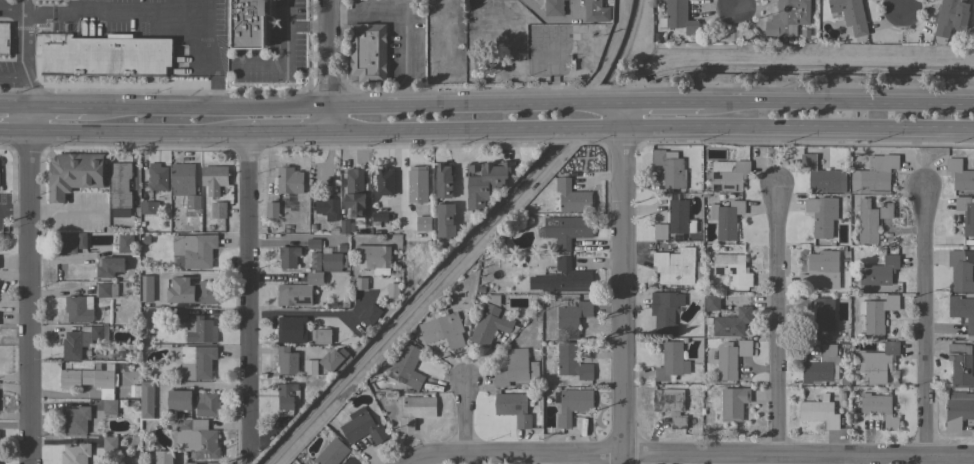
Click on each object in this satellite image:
road: (740, 1)
building: (554, 7)
road: (902, 9)
building: (593, 10)
road: (18, 11)
road: (121, 12)
building: (849, 15)
building: (951, 16)
building: (679, 17)
road: (543, 18)
building: (788, 18)
building: (249, 24)
road: (405, 24)
road: (305, 26)
building: (4, 38)
road: (25, 44)
building: (368, 52)
building: (103, 55)
road: (286, 55)
road: (324, 55)
road: (213, 61)
road: (12, 76)
road: (26, 92)
road: (797, 107)
road: (14, 108)
road: (56, 108)
road: (202, 110)
road: (472, 110)
road: (621, 120)
road: (323, 127)
road: (798, 134)
road: (472, 137)
road: (15, 138)
road: (137, 139)
road: (283, 141)
building: (670, 168)
building: (74, 174)
road: (457, 174)
building: (878, 174)
building: (960, 174)
building: (729, 175)
building: (823, 176)
building: (0, 177)
building: (157, 177)
building: (182, 177)
building: (214, 178)
building: (289, 180)
building: (444, 180)
building: (385, 181)
building: (417, 181)
building: (486, 181)
building: (120, 189)
building: (356, 193)
building: (571, 197)
building: (193, 203)
building: (150, 207)
building: (328, 208)
road: (15, 209)
building: (218, 210)
building: (272, 210)
building: (886, 210)
building: (966, 213)
building: (822, 215)
building: (380, 217)
building: (679, 218)
building: (726, 218)
building: (445, 222)
building: (867, 222)
building: (344, 227)
building: (567, 230)
building: (333, 231)
building: (660, 231)
building: (146, 240)
building: (71, 242)
building: (125, 243)
building: (315, 243)
building: (342, 248)
building: (194, 249)
building: (289, 256)
building: (373, 256)
building: (333, 261)
building: (110, 266)
building: (675, 266)
building: (821, 269)
building: (733, 270)
building: (961, 270)
building: (879, 272)
building: (563, 278)
building: (360, 283)
road: (30, 285)
building: (106, 289)
building: (146, 289)
building: (299, 290)
building: (392, 290)
building: (191, 291)
road: (246, 293)
road: (622, 298)
building: (712, 302)
building: (79, 308)
building: (665, 310)
building: (963, 312)
road: (309, 313)
building: (878, 313)
building: (824, 314)
building: (180, 315)
building: (371, 315)
building: (571, 317)
road: (781, 321)
road: (923, 321)
building: (490, 322)
building: (732, 323)
building: (292, 329)
building: (443, 329)
building: (201, 330)
building: (321, 336)
building: (82, 341)
building: (745, 348)
building: (333, 359)
building: (879, 359)
building: (287, 360)
building: (197, 362)
building: (572, 362)
building: (671, 362)
building: (727, 362)
building: (961, 364)
building: (408, 365)
building: (310, 366)
building: (822, 366)
building: (515, 368)
building: (87, 378)
building: (844, 381)
building: (132, 392)
building: (841, 394)
building: (287, 398)
building: (147, 399)
building: (180, 399)
building: (733, 403)
building: (207, 404)
building: (573, 405)
building: (671, 405)
building: (110, 406)
building: (513, 408)
building: (879, 409)
building: (959, 410)
building: (416, 411)
road: (458, 411)
building: (819, 412)
building: (75, 420)
building: (362, 427)
building: (196, 438)
building: (110, 443)
building: (331, 452)
road: (682, 453)
building: (76, 454)
building: (164, 457)
building: (129, 460)
building: (191, 463)
building: (211, 463)

